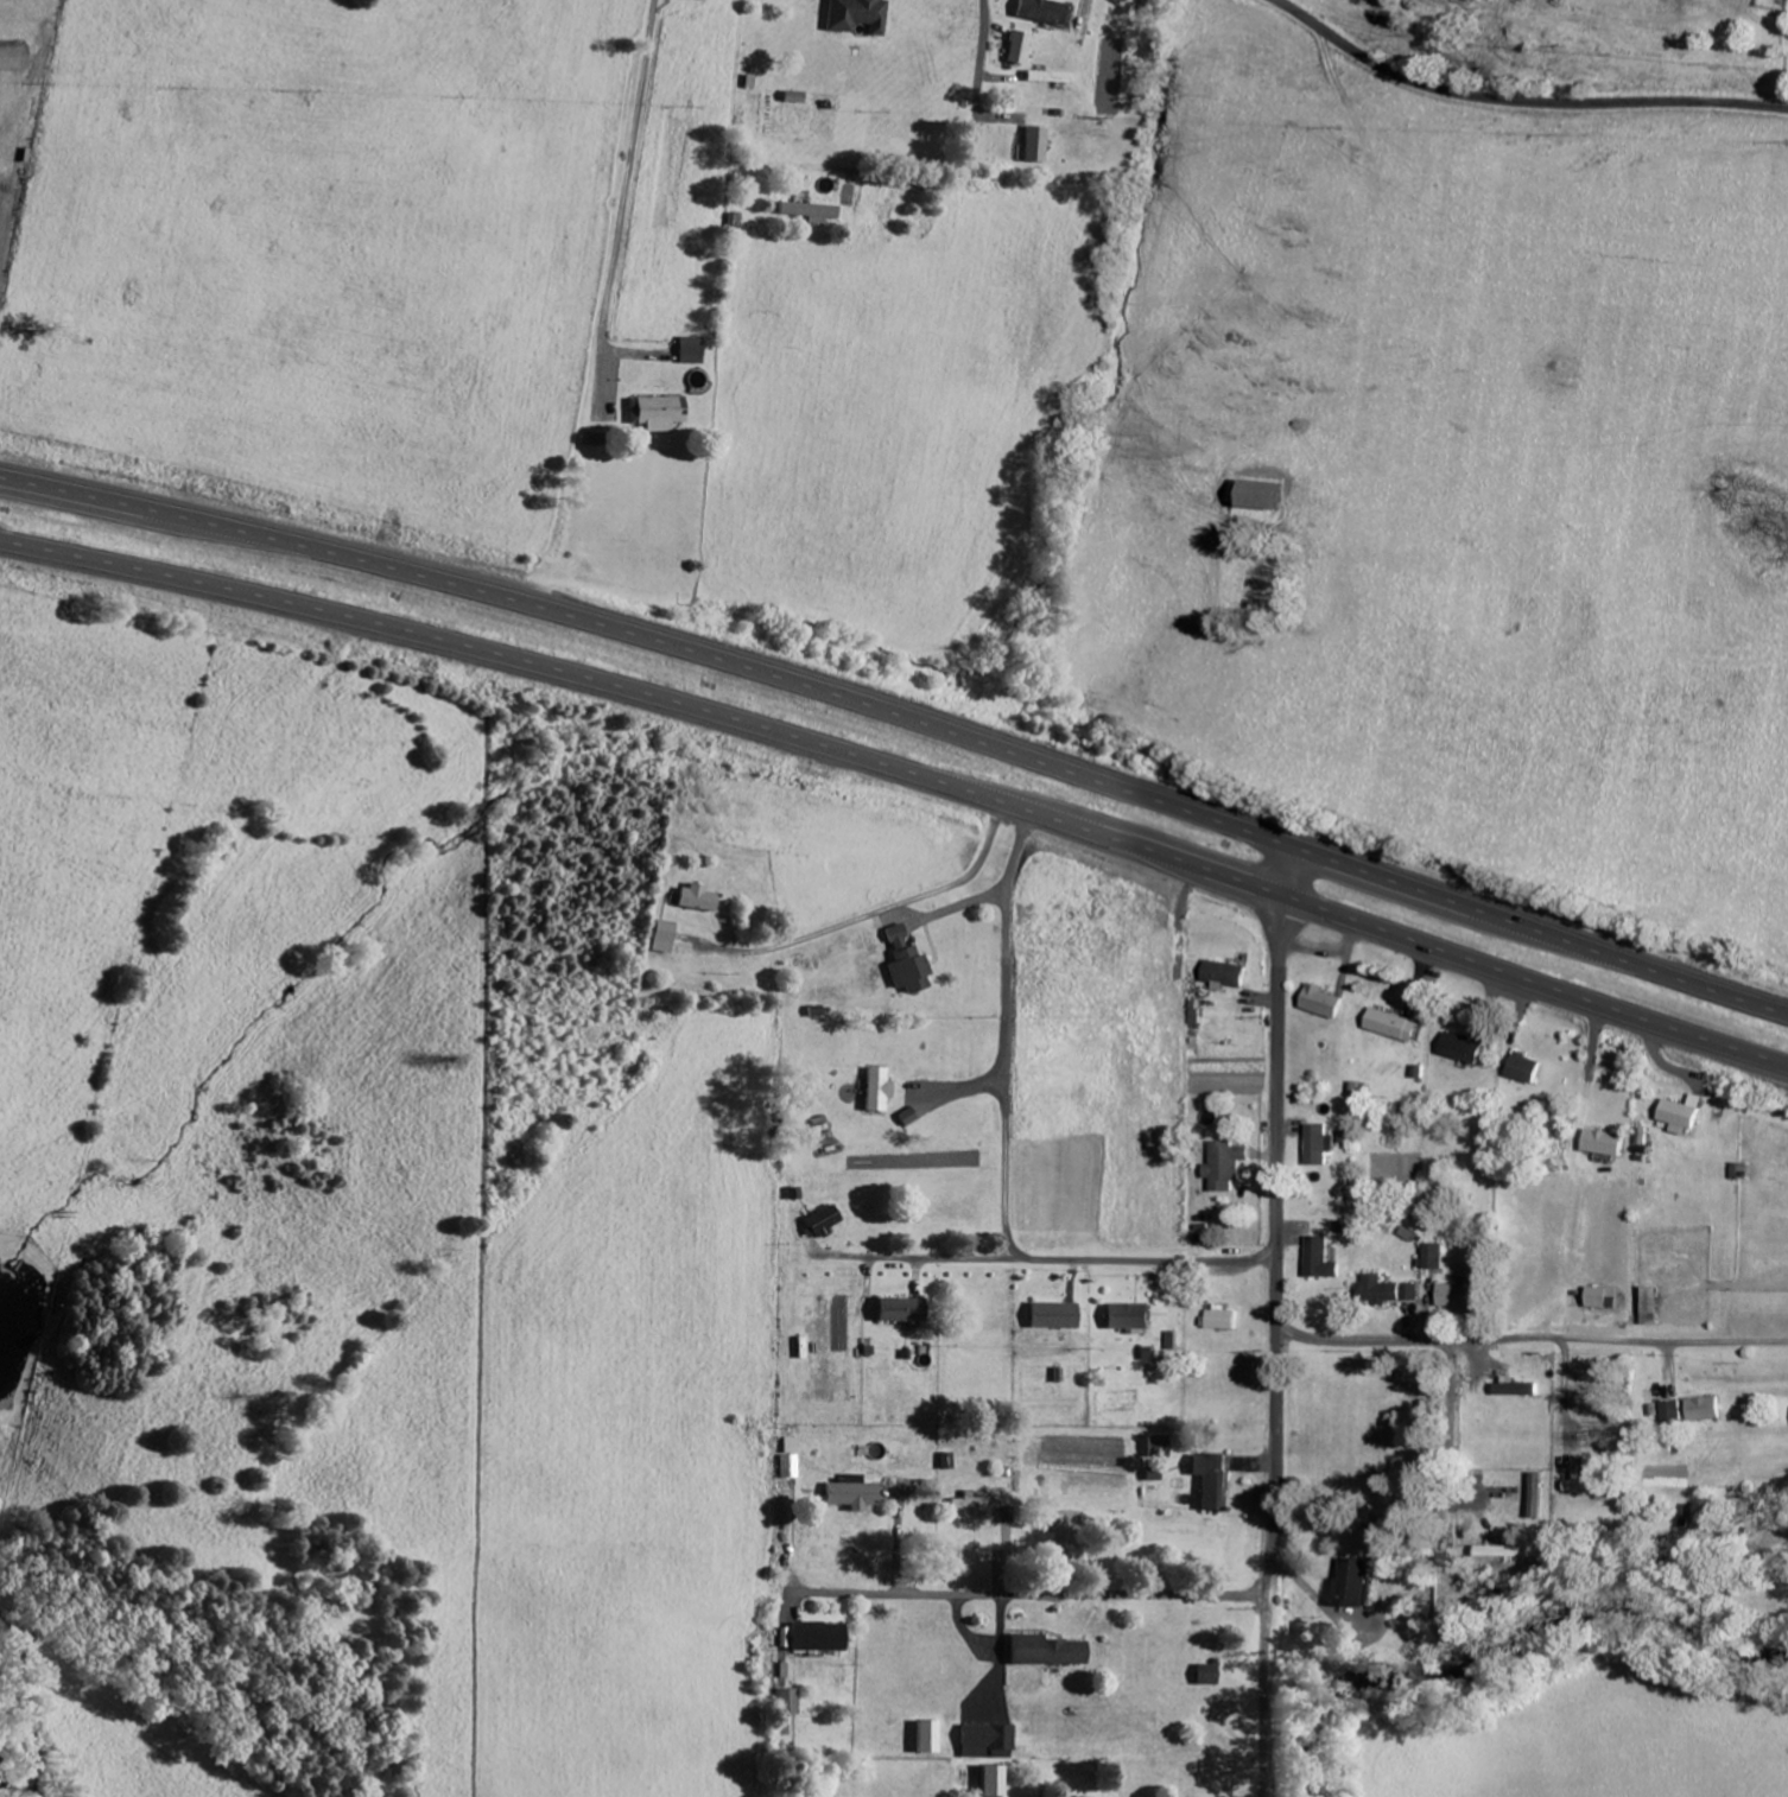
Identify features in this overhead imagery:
road: (1518, 102)
road: (968, 170)
road: (622, 207)
road: (11, 284)
road: (902, 718)
road: (903, 769)
road: (873, 914)
road: (1007, 1034)
road: (1046, 1259)
road: (1276, 1322)
road: (1532, 1340)
road: (1560, 1395)
road: (1454, 1421)
road: (1029, 1595)

